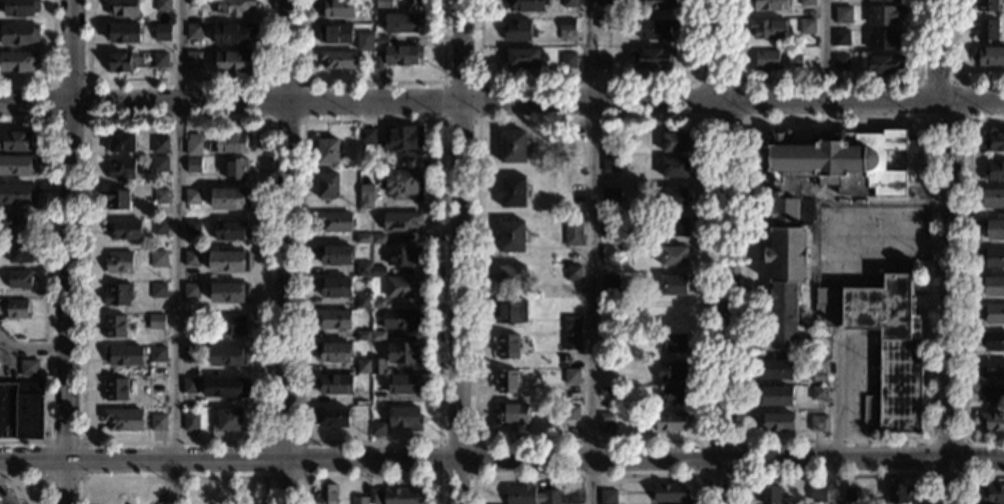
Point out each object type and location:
building: (878, 0)
building: (412, 1)
building: (568, 2)
building: (603, 2)
building: (805, 2)
building: (195, 3)
building: (381, 3)
building: (657, 4)
building: (161, 5)
building: (525, 5)
building: (766, 5)
building: (985, 5)
building: (19, 7)
building: (233, 7)
building: (121, 8)
building: (337, 8)
building: (841, 14)
building: (883, 15)
building: (400, 21)
building: (601, 24)
building: (806, 26)
building: (767, 28)
building: (566, 29)
building: (653, 29)
building: (516, 30)
building: (984, 30)
building: (192, 31)
building: (121, 32)
building: (160, 32)
building: (333, 33)
building: (231, 34)
building: (18, 35)
building: (840, 37)
building: (882, 39)
building: (380, 41)
building: (365, 46)
road: (825, 50)
road: (70, 51)
building: (400, 54)
building: (988, 56)
building: (650, 57)
building: (520, 58)
building: (192, 59)
building: (773, 59)
building: (158, 60)
building: (336, 60)
building: (17, 61)
building: (121, 61)
building: (232, 61)
building: (601, 62)
building: (839, 62)
building: (377, 63)
building: (882, 63)
road: (952, 65)
building: (567, 66)
road: (52, 67)
road: (825, 80)
road: (372, 81)
road: (585, 81)
road: (176, 82)
road: (502, 103)
road: (745, 117)
road: (966, 118)
road: (86, 120)
road: (302, 120)
road: (477, 121)
building: (367, 136)
building: (402, 138)
building: (121, 141)
building: (16, 142)
building: (675, 142)
building: (994, 142)
building: (228, 144)
building: (159, 145)
building: (193, 145)
building: (513, 146)
building: (610, 146)
building: (327, 151)
building: (847, 161)
building: (159, 165)
building: (192, 165)
building: (610, 165)
building: (17, 166)
building: (674, 167)
building: (121, 168)
building: (235, 169)
building: (994, 171)
building: (404, 184)
building: (327, 185)
building: (512, 191)
building: (17, 195)
building: (365, 196)
building: (611, 196)
building: (671, 196)
building: (159, 197)
building: (192, 197)
building: (229, 198)
building: (993, 198)
building: (118, 199)
building: (334, 221)
building: (401, 221)
building: (17, 223)
building: (609, 225)
building: (674, 226)
building: (159, 228)
building: (192, 228)
building: (993, 228)
building: (124, 229)
road: (458, 229)
building: (229, 230)
building: (573, 230)
building: (511, 236)
building: (362, 238)
building: (378, 239)
road: (726, 250)
road: (948, 250)
road: (592, 251)
building: (20, 252)
road: (176, 252)
road: (288, 252)
building: (608, 252)
building: (334, 255)
building: (402, 255)
building: (674, 256)
building: (992, 258)
building: (158, 259)
building: (191, 259)
building: (786, 260)
building: (119, 262)
building: (228, 262)
building: (363, 269)
building: (378, 271)
building: (572, 272)
building: (513, 274)
road: (49, 278)
road: (966, 279)
building: (20, 280)
road: (68, 281)
building: (610, 283)
building: (673, 285)
building: (994, 285)
building: (334, 287)
building: (402, 287)
building: (158, 291)
building: (190, 291)
building: (229, 293)
building: (118, 294)
building: (362, 301)
building: (378, 303)
building: (16, 309)
building: (509, 312)
building: (993, 313)
building: (673, 314)
building: (401, 318)
building: (333, 319)
building: (156, 322)
building: (191, 322)
building: (571, 323)
building: (233, 325)
building: (115, 327)
building: (362, 336)
building: (378, 336)
building: (607, 338)
building: (992, 340)
building: (571, 342)
building: (672, 343)
building: (507, 346)
road: (32, 347)
building: (883, 347)
building: (333, 352)
building: (404, 352)
building: (157, 354)
building: (189, 354)
building: (124, 355)
building: (228, 356)
building: (363, 366)
building: (378, 366)
building: (606, 367)
building: (819, 367)
building: (29, 368)
building: (775, 369)
building: (992, 369)
building: (671, 371)
building: (572, 376)
building: (819, 379)
building: (507, 381)
building: (334, 384)
building: (404, 384)
building: (156, 385)
building: (190, 385)
building: (225, 387)
building: (115, 390)
building: (606, 391)
building: (818, 393)
building: (992, 394)
building: (673, 395)
building: (775, 396)
building: (21, 411)
building: (571, 412)
building: (511, 414)
building: (332, 417)
building: (405, 417)
building: (607, 418)
road: (834, 418)
building: (123, 419)
building: (229, 420)
building: (992, 421)
building: (157, 422)
building: (191, 422)
building: (670, 422)
building: (777, 422)
building: (819, 423)
building: (361, 429)
building: (377, 429)
road: (707, 439)
road: (438, 440)
road: (929, 440)
road: (265, 441)
road: (930, 457)
road: (966, 457)
road: (502, 459)
road: (742, 473)
road: (591, 475)
road: (835, 475)
road: (970, 475)
road: (472, 476)
road: (21, 477)
road: (81, 477)
road: (173, 477)
road: (298, 477)
road: (368, 477)
road: (3, 478)
road: (453, 481)
road: (67, 483)
building: (669, 493)
building: (817, 493)
building: (898, 493)
building: (325, 494)
building: (530, 494)
building: (852, 494)
building: (993, 494)
building: (771, 495)
building: (374, 496)
building: (401, 496)
building: (607, 496)
building: (359, 500)
road: (1, 502)

